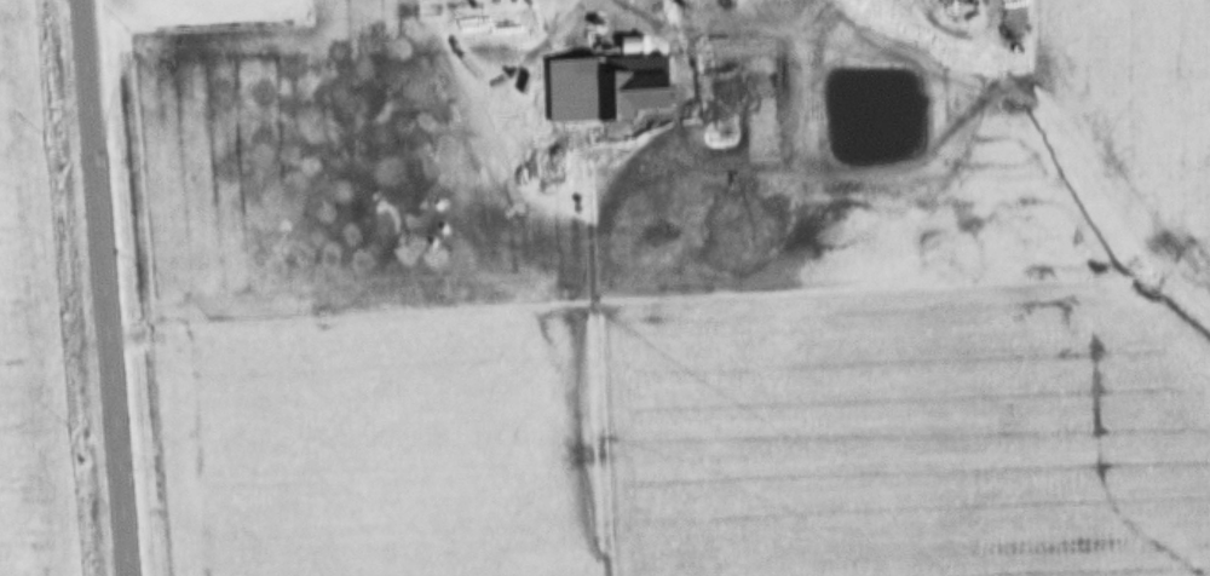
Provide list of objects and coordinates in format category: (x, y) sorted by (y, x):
building: (641, 86)
road: (105, 288)

